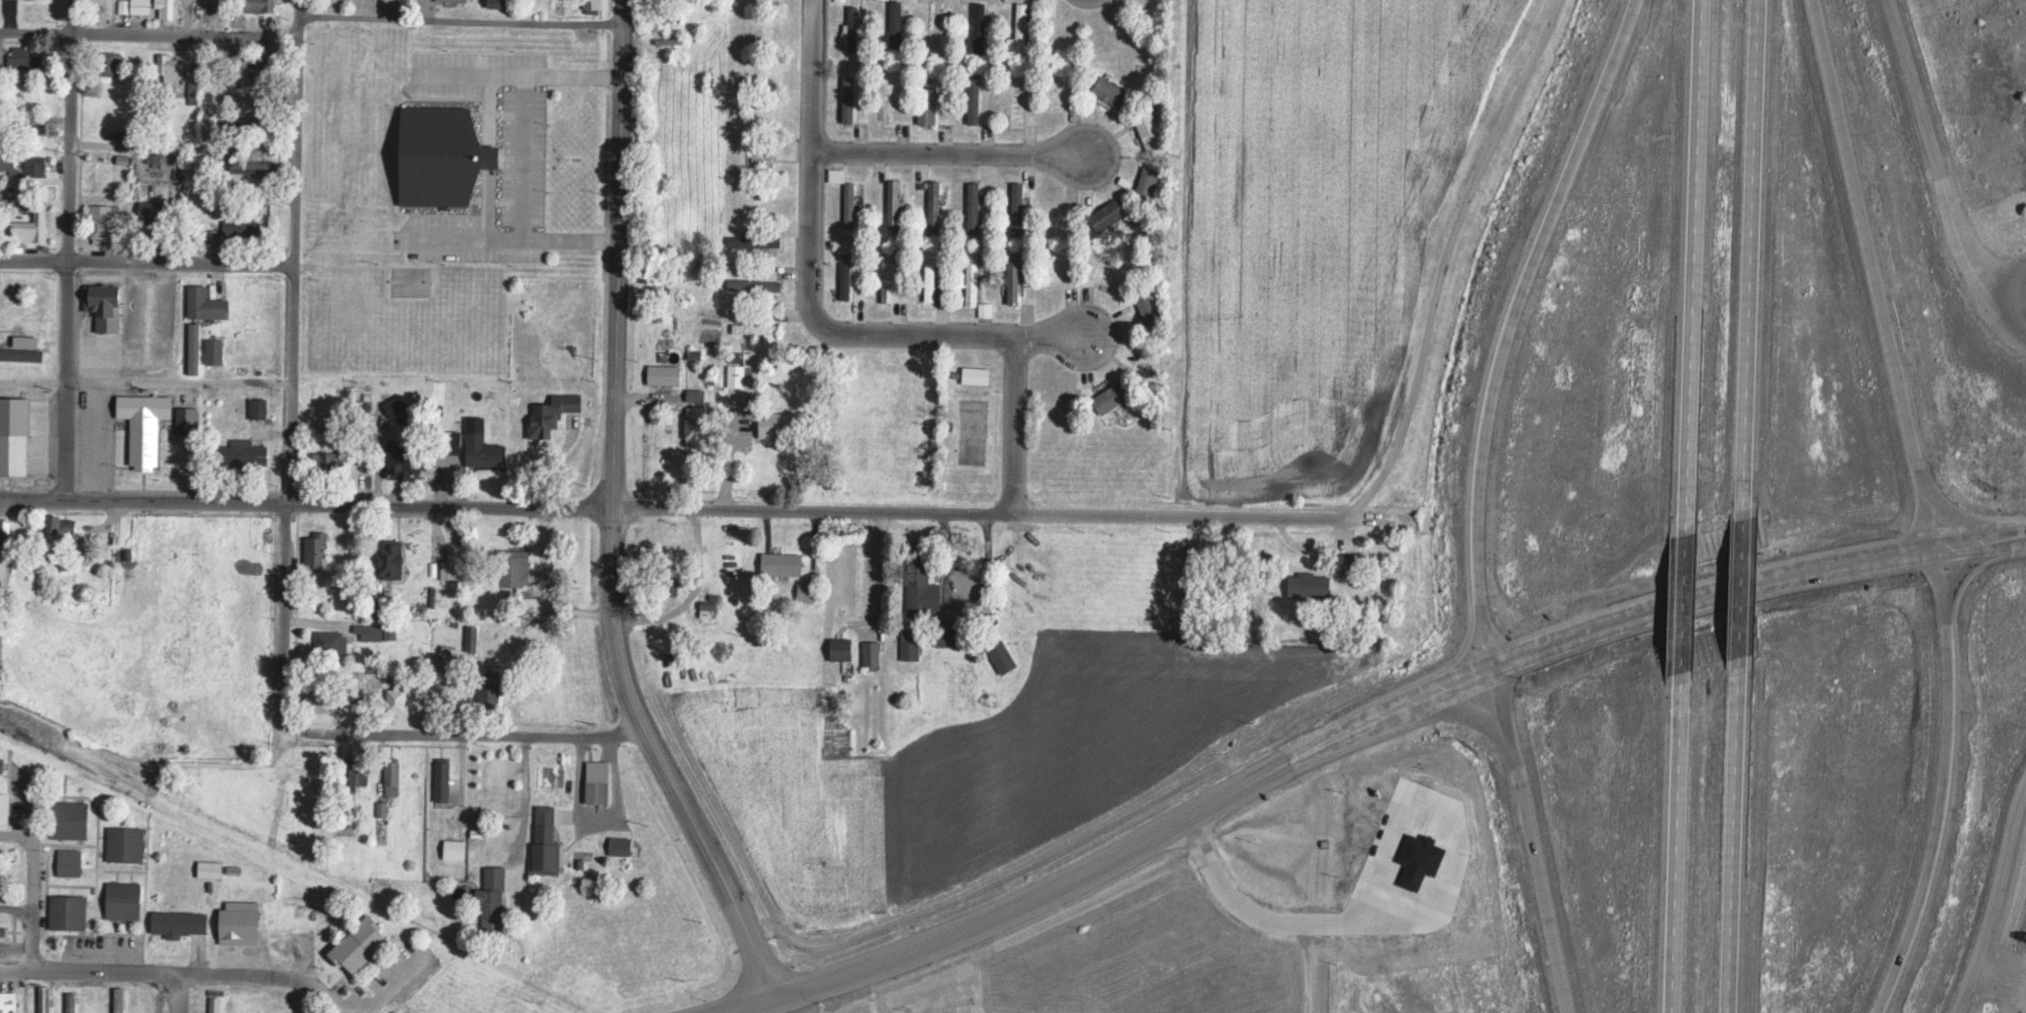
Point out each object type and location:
building: (501, 2)
building: (173, 4)
building: (201, 4)
building: (142, 5)
building: (261, 5)
road: (462, 21)
building: (896, 22)
building: (939, 25)
building: (854, 26)
building: (1023, 26)
road: (147, 37)
building: (26, 58)
building: (171, 66)
building: (260, 67)
building: (1113, 90)
building: (851, 97)
building: (1019, 97)
building: (930, 104)
building: (40, 122)
building: (212, 124)
road: (948, 152)
building: (10, 158)
building: (439, 163)
building: (39, 164)
road: (1941, 176)
building: (847, 194)
building: (936, 204)
building: (1019, 206)
building: (1109, 213)
building: (156, 214)
building: (102, 223)
building: (33, 224)
building: (243, 227)
building: (756, 240)
road: (69, 250)
road: (291, 252)
road: (1747, 259)
road: (145, 260)
road: (811, 262)
road: (1448, 262)
road: (1696, 266)
road: (1875, 272)
building: (847, 282)
road: (2005, 282)
building: (758, 283)
building: (890, 283)
building: (973, 285)
building: (1014, 286)
building: (932, 289)
building: (208, 302)
building: (107, 304)
building: (1150, 308)
road: (1507, 322)
building: (26, 336)
road: (1049, 337)
building: (196, 347)
building: (217, 350)
building: (665, 373)
building: (697, 393)
building: (1114, 395)
building: (397, 405)
building: (260, 407)
building: (555, 413)
building: (16, 416)
building: (189, 419)
building: (774, 421)
building: (147, 424)
building: (700, 425)
road: (1014, 425)
building: (325, 438)
building: (486, 450)
building: (16, 452)
building: (244, 452)
building: (326, 458)
building: (404, 460)
road: (688, 505)
road: (613, 516)
building: (59, 524)
building: (317, 547)
building: (394, 558)
building: (785, 562)
building: (456, 563)
building: (516, 568)
building: (129, 569)
building: (922, 575)
road: (1754, 581)
building: (1310, 584)
road: (1736, 586)
road: (1682, 610)
road: (283, 619)
building: (952, 631)
building: (473, 639)
building: (333, 641)
building: (913, 642)
building: (845, 647)
building: (873, 652)
building: (494, 688)
building: (398, 694)
building: (320, 700)
road: (470, 737)
building: (359, 771)
building: (394, 777)
building: (444, 779)
building: (600, 781)
road: (1943, 783)
building: (5, 809)
building: (74, 818)
road: (1731, 833)
road: (1531, 837)
building: (548, 839)
building: (127, 843)
road: (1138, 843)
building: (622, 845)
road: (1675, 850)
building: (72, 865)
building: (495, 897)
building: (126, 899)
road: (2000, 906)
building: (70, 911)
building: (186, 922)
building: (241, 922)
building: (295, 943)
building: (365, 945)
road: (158, 976)
building: (47, 999)
building: (121, 1000)
building: (10, 1001)
building: (73, 1002)
building: (244, 1002)
building: (267, 1002)
building: (299, 1002)
building: (222, 1004)
road: (747, 1005)

